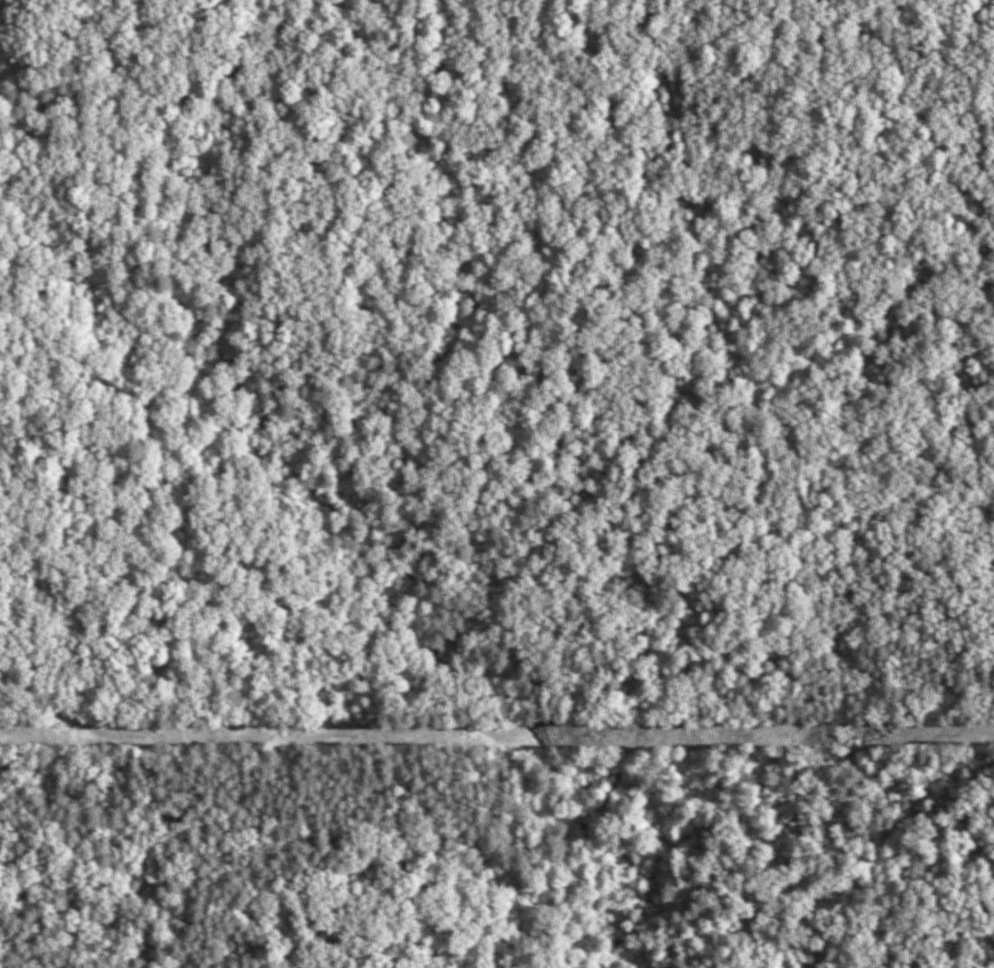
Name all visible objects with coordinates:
road: (505, 766)

